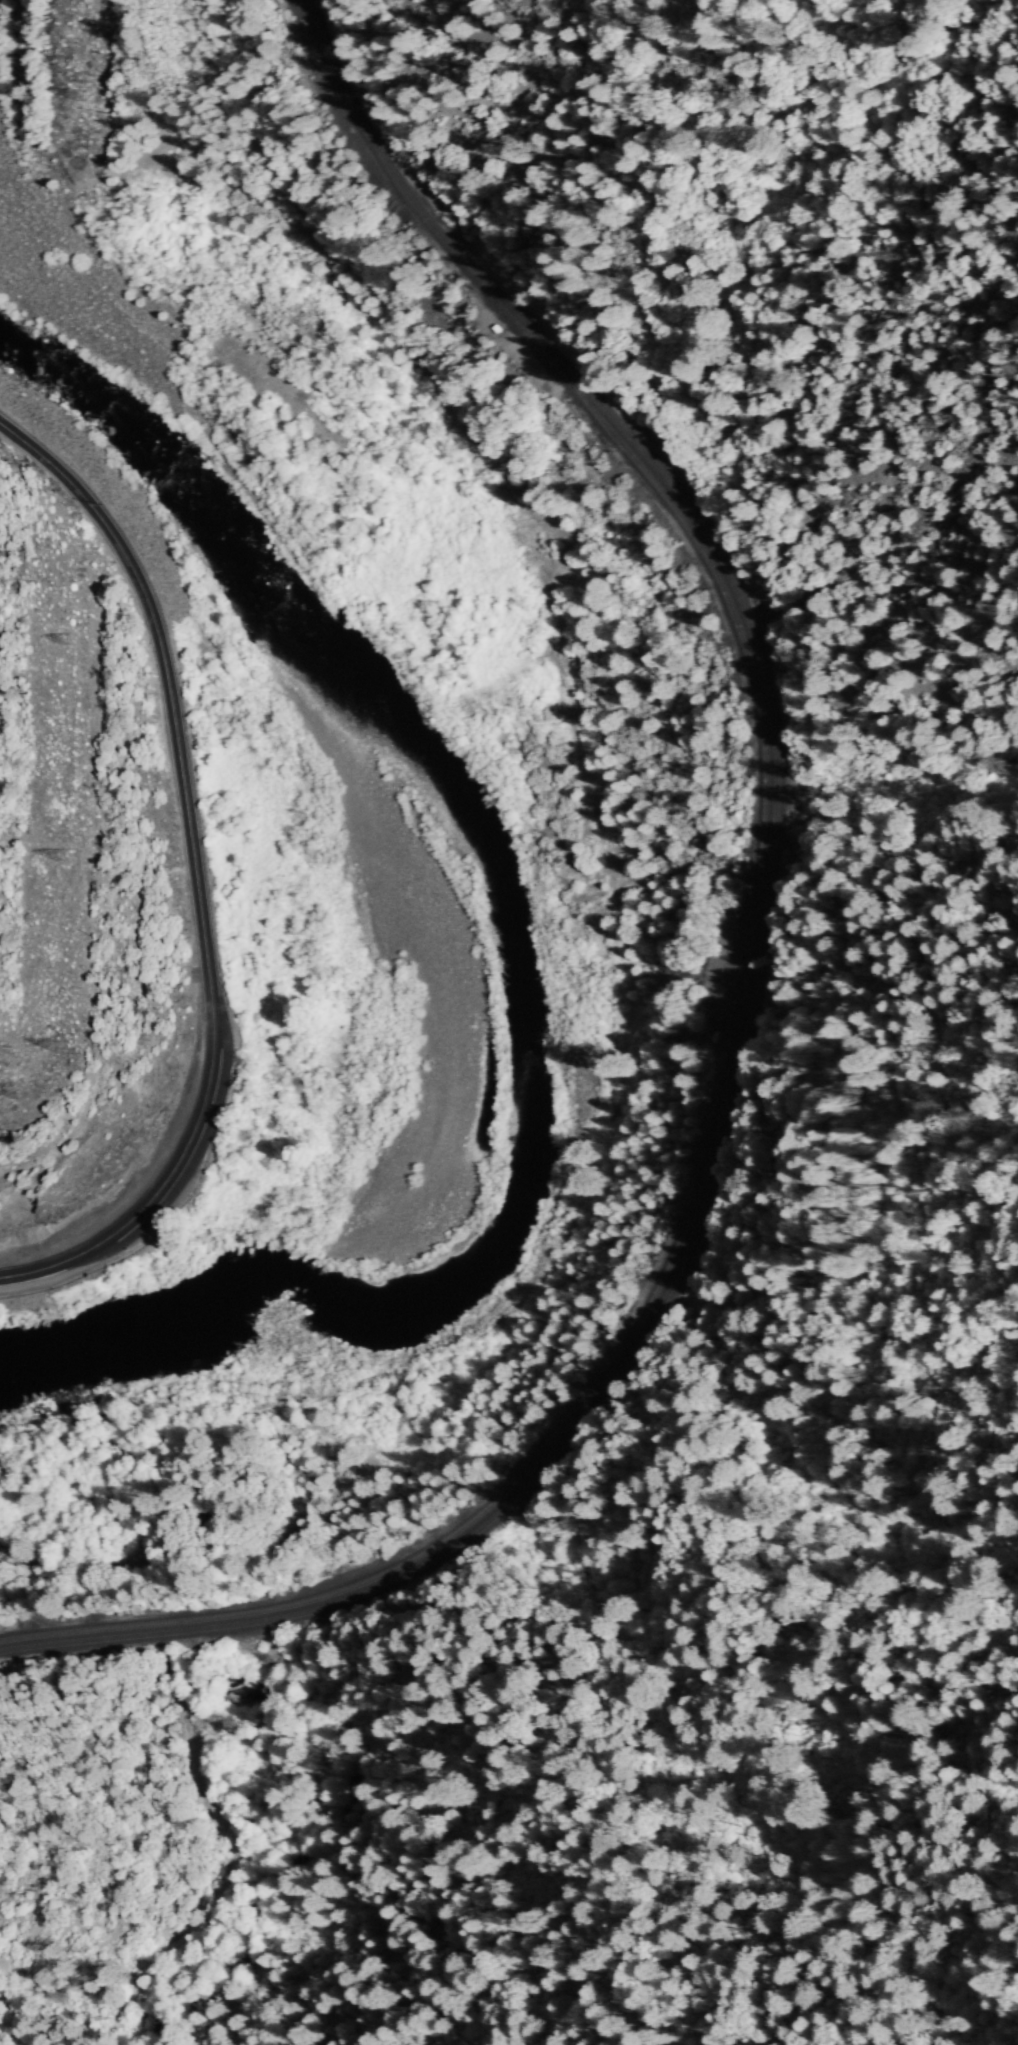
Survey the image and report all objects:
railway: (403, 190)
river: (166, 468)
power tower: (75, 865)
road: (197, 875)
river: (518, 949)
power tower: (57, 1043)
railway: (699, 1183)
railway: (710, 1189)
river: (308, 1279)
river: (160, 1328)
river: (58, 1359)

